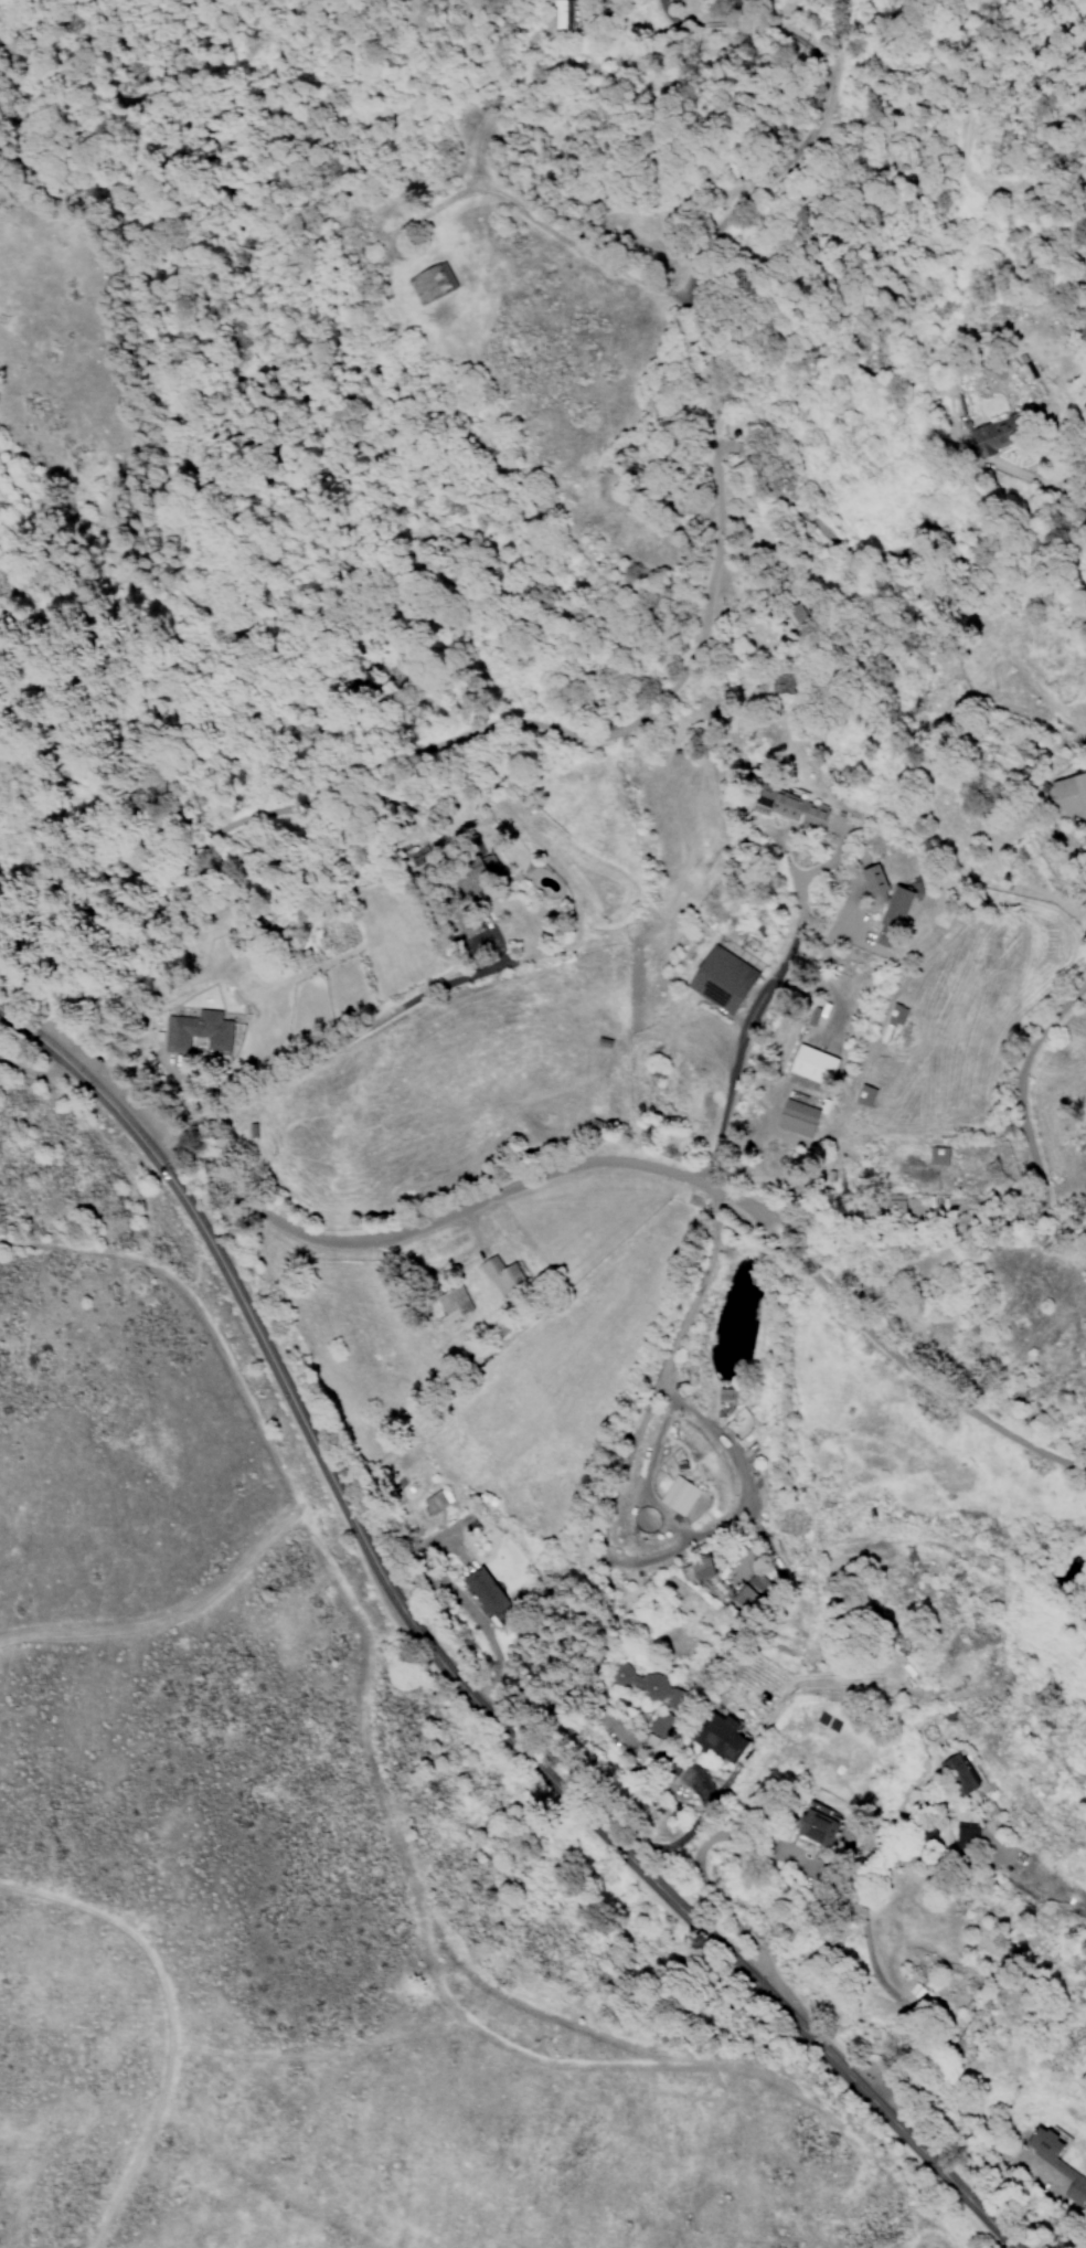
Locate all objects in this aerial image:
building: (571, 18)
road: (954, 155)
road: (554, 235)
building: (432, 284)
building: (994, 434)
road: (666, 693)
building: (1068, 794)
building: (788, 807)
building: (417, 855)
building: (873, 879)
building: (892, 916)
building: (467, 922)
building: (721, 979)
building: (895, 1014)
road: (795, 1027)
building: (198, 1031)
road: (738, 1033)
road: (328, 1045)
building: (811, 1063)
parking lot: (104, 1075)
road: (38, 1089)
building: (863, 1095)
building: (796, 1118)
building: (937, 1156)
power tower: (844, 1200)
road: (472, 1213)
road: (1024, 1220)
building: (500, 1275)
building: (454, 1303)
road: (203, 1312)
road: (905, 1367)
building: (723, 1393)
road: (633, 1449)
building: (678, 1495)
building: (486, 1498)
building: (435, 1502)
building: (700, 1568)
building: (749, 1590)
building: (483, 1591)
road: (448, 1672)
building: (654, 1688)
building: (723, 1736)
building: (961, 1772)
building: (816, 1826)
road: (680, 1837)
building: (965, 1837)
road: (817, 1863)
road: (166, 2025)
building: (1056, 2163)

